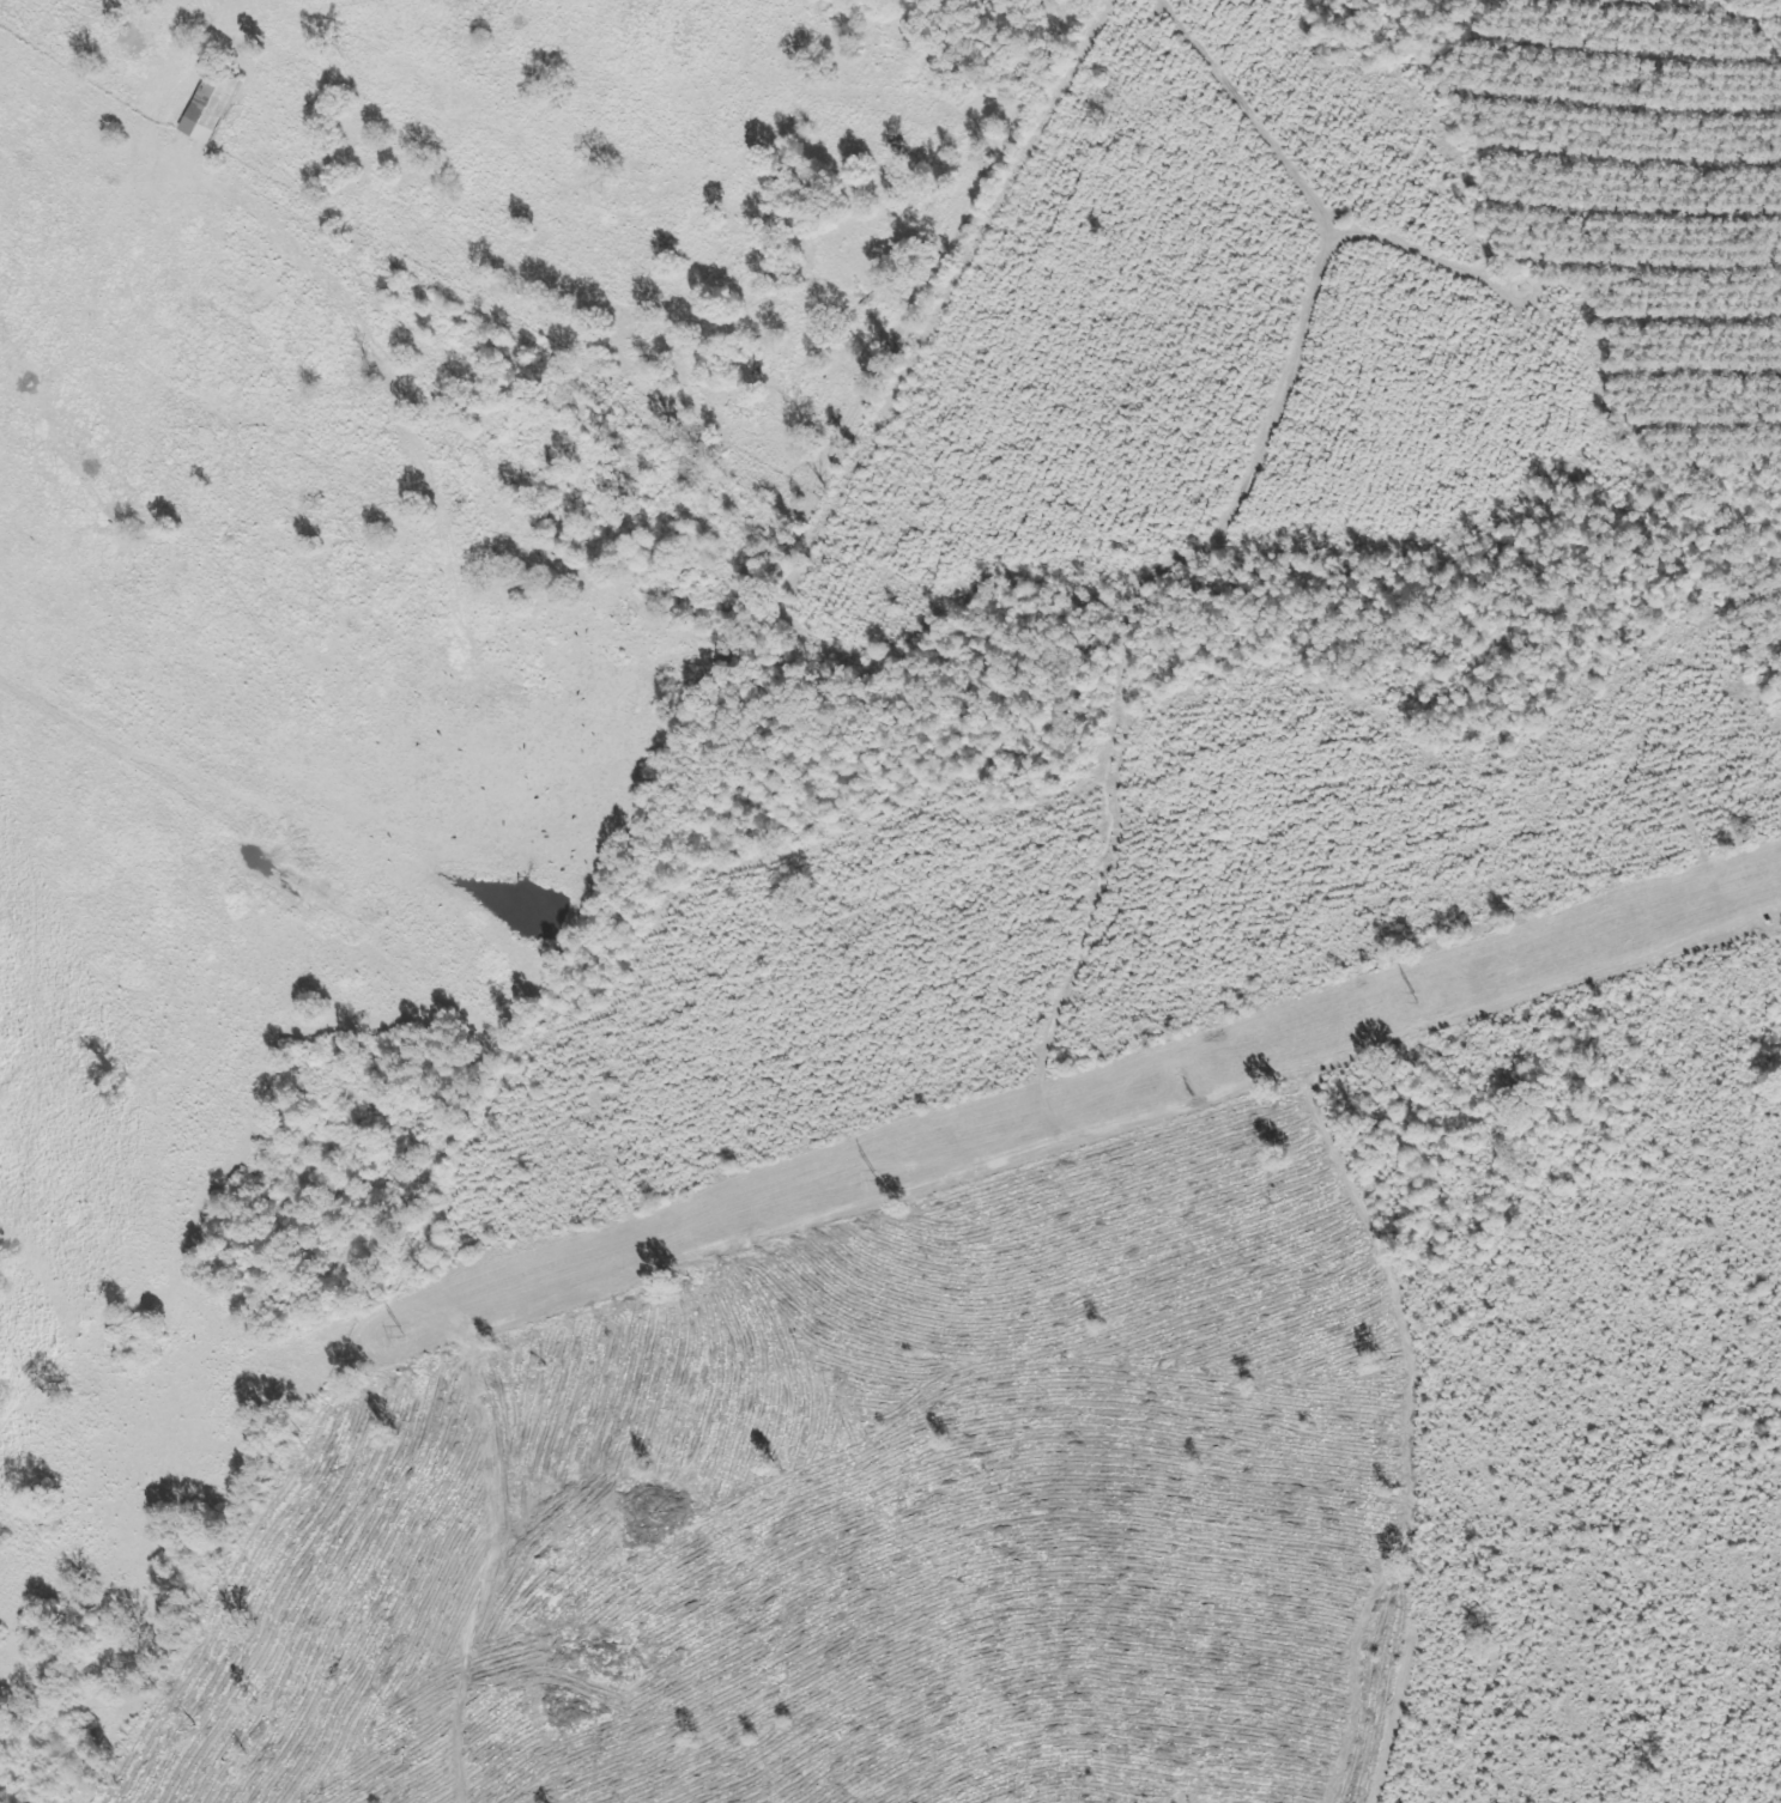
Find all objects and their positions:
road: (75, 420)
road: (274, 876)
power tower: (1409, 994)
power tower: (870, 1174)
power tower: (394, 1329)

